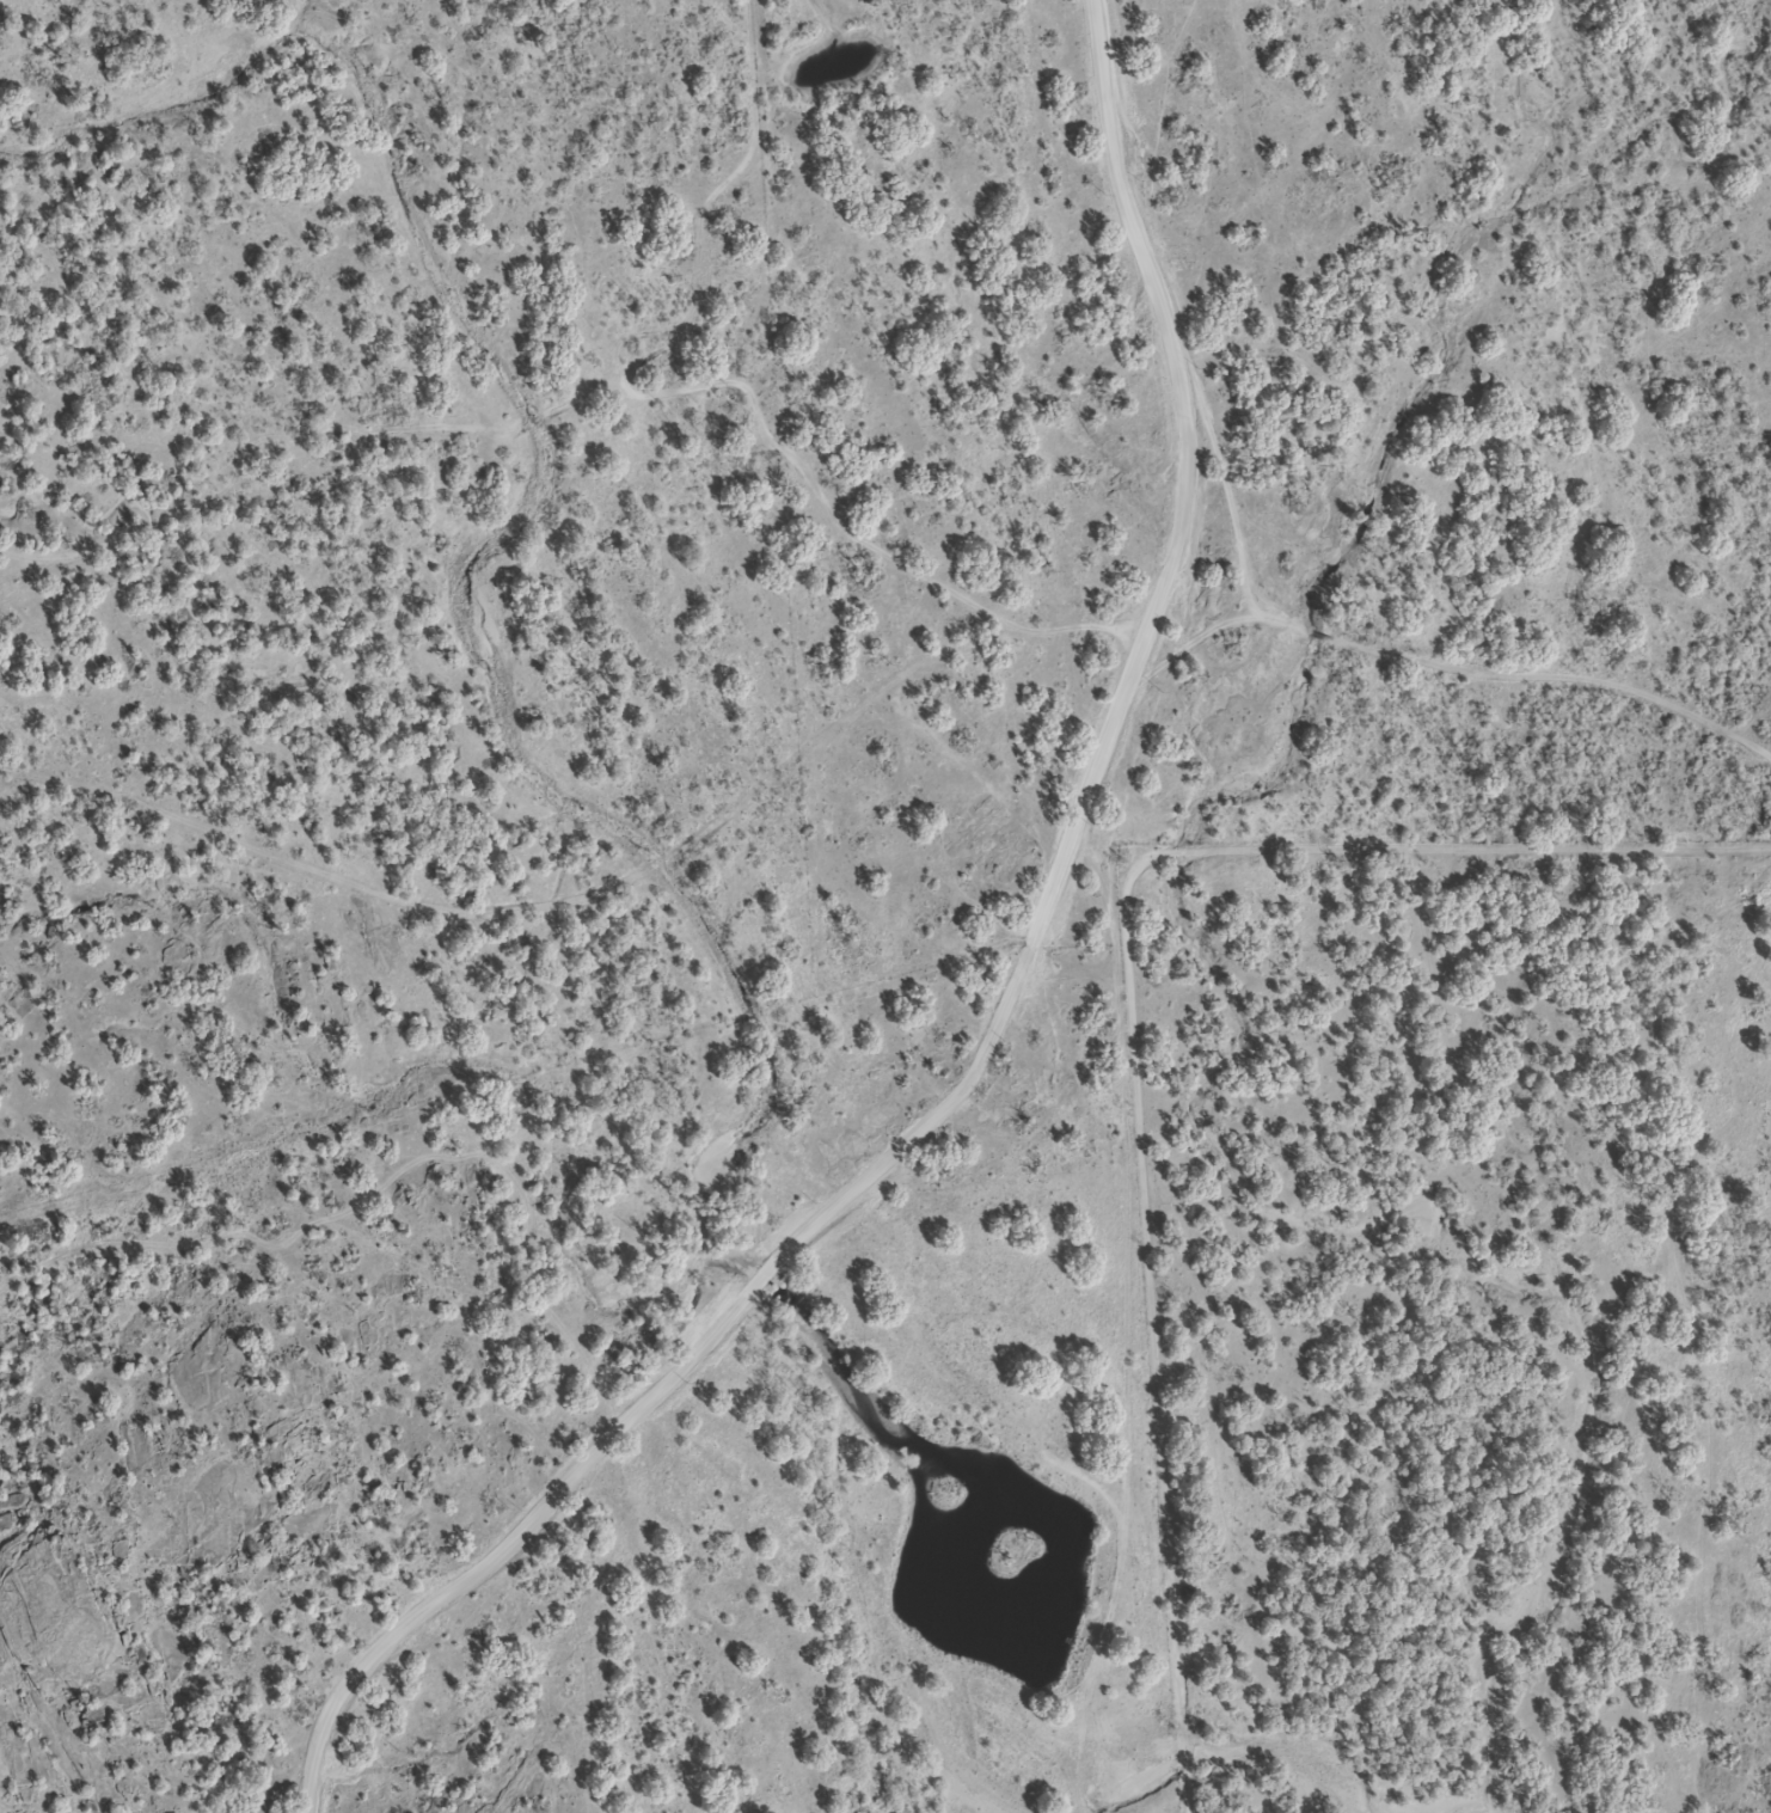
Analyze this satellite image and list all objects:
road: (999, 1025)

